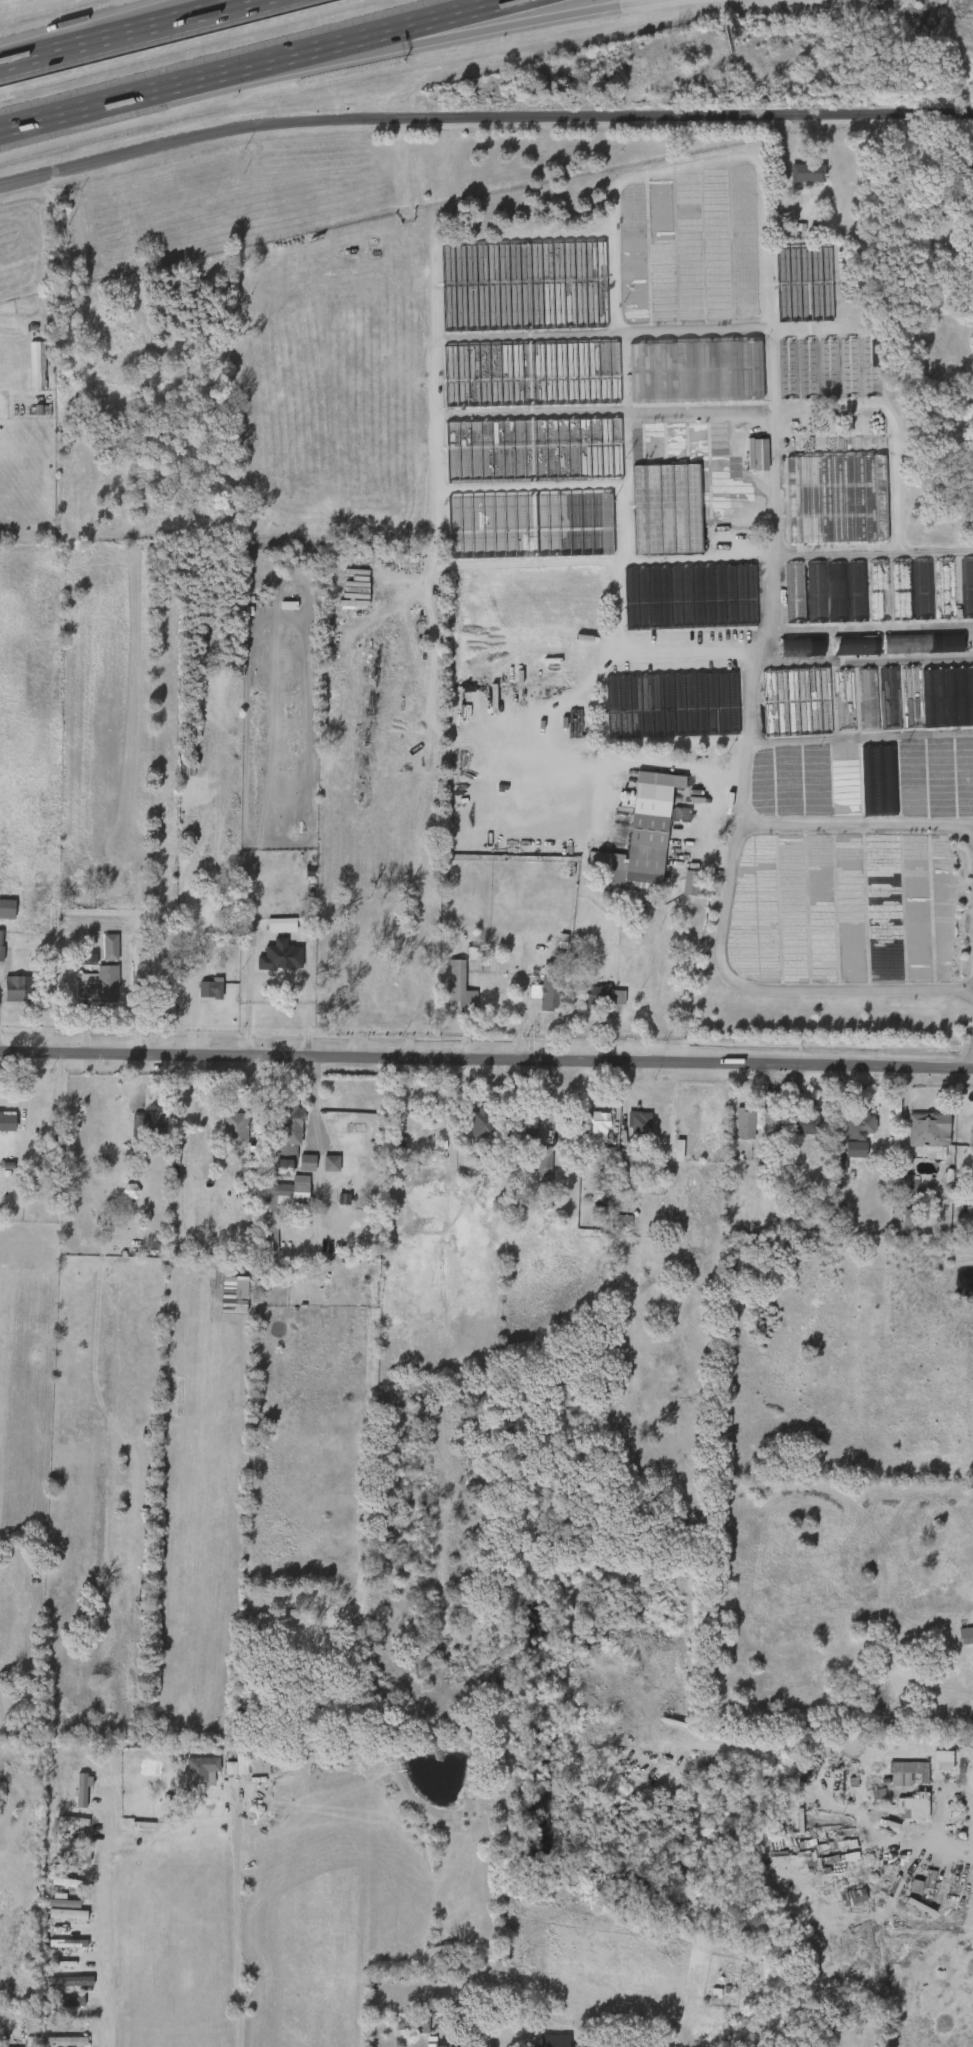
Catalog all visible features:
road: (93, 29)
road: (123, 31)
road: (428, 36)
road: (358, 37)
road: (106, 101)
road: (482, 117)
building: (961, 169)
building: (804, 174)
building: (966, 247)
building: (791, 291)
building: (511, 293)
building: (829, 367)
building: (870, 367)
building: (850, 368)
building: (788, 369)
building: (809, 369)
building: (696, 371)
building: (25, 373)
building: (531, 374)
building: (858, 392)
building: (533, 450)
building: (755, 453)
building: (655, 515)
road: (677, 559)
building: (967, 587)
building: (945, 588)
building: (901, 590)
building: (923, 590)
building: (857, 591)
building: (879, 591)
building: (817, 592)
building: (838, 592)
building: (796, 593)
building: (691, 596)
building: (866, 598)
building: (934, 642)
building: (871, 644)
building: (809, 645)
building: (911, 650)
building: (843, 652)
building: (788, 653)
building: (948, 696)
building: (913, 697)
building: (868, 698)
building: (891, 698)
building: (845, 700)
building: (797, 701)
building: (672, 704)
road: (859, 739)
building: (880, 778)
road: (854, 825)
building: (638, 845)
building: (691, 883)
building: (678, 889)
road: (726, 890)
building: (7, 904)
building: (1, 944)
building: (110, 947)
building: (99, 953)
building: (269, 962)
building: (458, 980)
building: (99, 985)
building: (18, 988)
building: (211, 988)
building: (447, 992)
road: (655, 992)
building: (547, 994)
building: (199, 995)
building: (599, 996)
road: (246, 1009)
road: (307, 1012)
road: (524, 1018)
road: (486, 1062)
road: (314, 1104)
building: (150, 1120)
building: (8, 1121)
building: (803, 1121)
building: (528, 1122)
building: (754, 1123)
building: (481, 1124)
building: (640, 1124)
building: (600, 1125)
building: (852, 1125)
building: (237, 1128)
building: (733, 1129)
building: (794, 1129)
building: (469, 1130)
building: (627, 1131)
building: (517, 1132)
building: (587, 1132)
building: (928, 1132)
building: (224, 1135)
building: (276, 1136)
building: (290, 1138)
building: (843, 1155)
building: (629, 1160)
building: (545, 1164)
building: (616, 1167)
building: (295, 1169)
building: (319, 1169)
building: (533, 1171)
building: (828, 1171)
building: (271, 1173)
building: (504, 1174)
building: (248, 1180)
building: (291, 1192)
building: (898, 1197)
building: (906, 1221)
building: (376, 1231)
building: (965, 1635)
building: (958, 1641)
building: (238, 1765)
building: (199, 1771)
building: (226, 1771)
building: (907, 1773)
building: (82, 1790)
building: (71, 1795)
building: (901, 1812)
road: (916, 1831)
building: (832, 1846)
building: (824, 1851)
building: (60, 1863)
building: (911, 1888)
building: (841, 1902)
road: (116, 1904)
building: (62, 1906)
building: (51, 1911)
road: (246, 1924)
building: (68, 1945)
building: (56, 1948)
building: (452, 1963)
building: (57, 1987)
building: (65, 2001)
building: (57, 2008)
building: (418, 2022)
building: (402, 2028)
building: (20, 2031)
building: (634, 2040)
building: (3, 2041)
building: (69, 2041)
building: (556, 2041)
building: (536, 2043)
building: (55, 2044)
building: (481, 2044)

